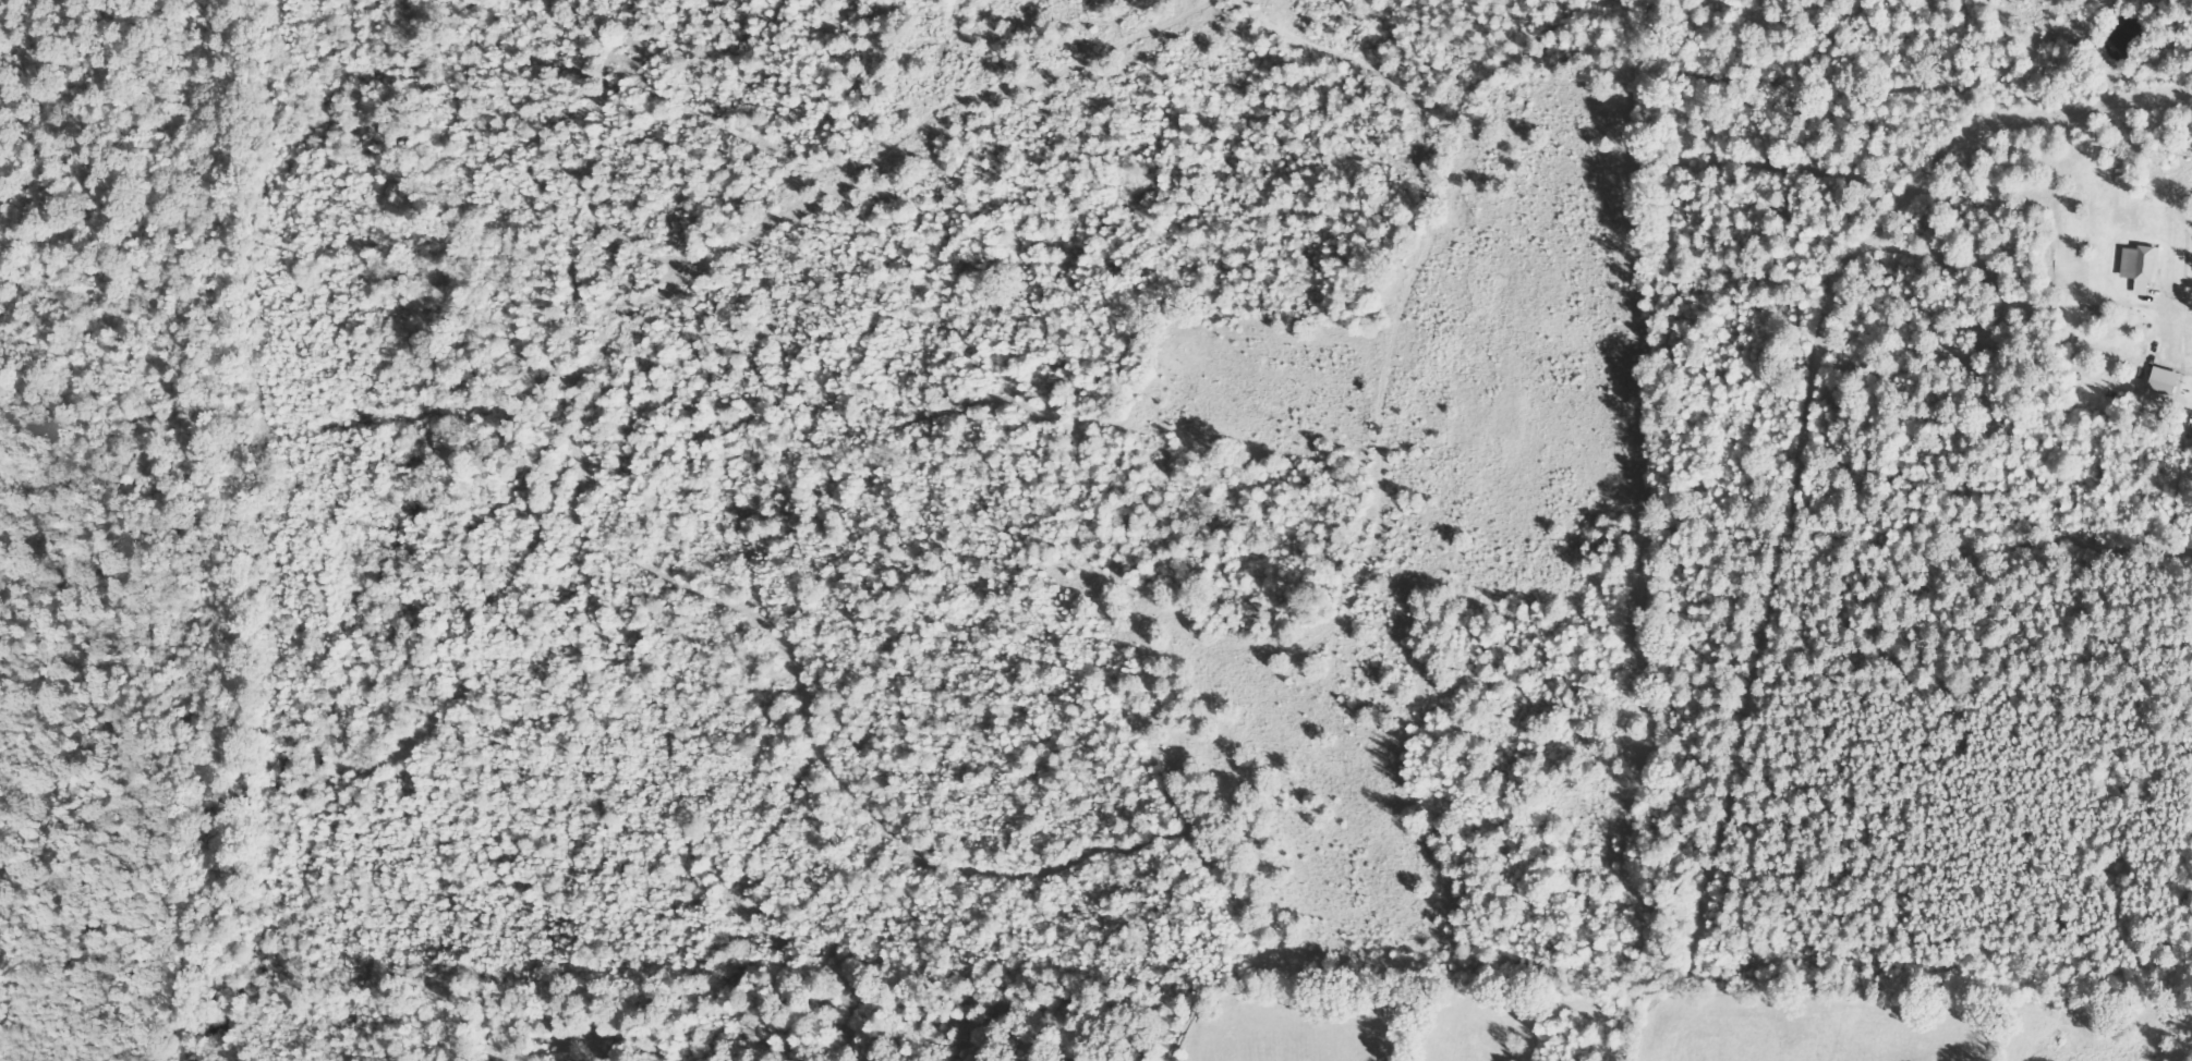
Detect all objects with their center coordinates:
building: (2143, 266)
building: (2164, 385)

